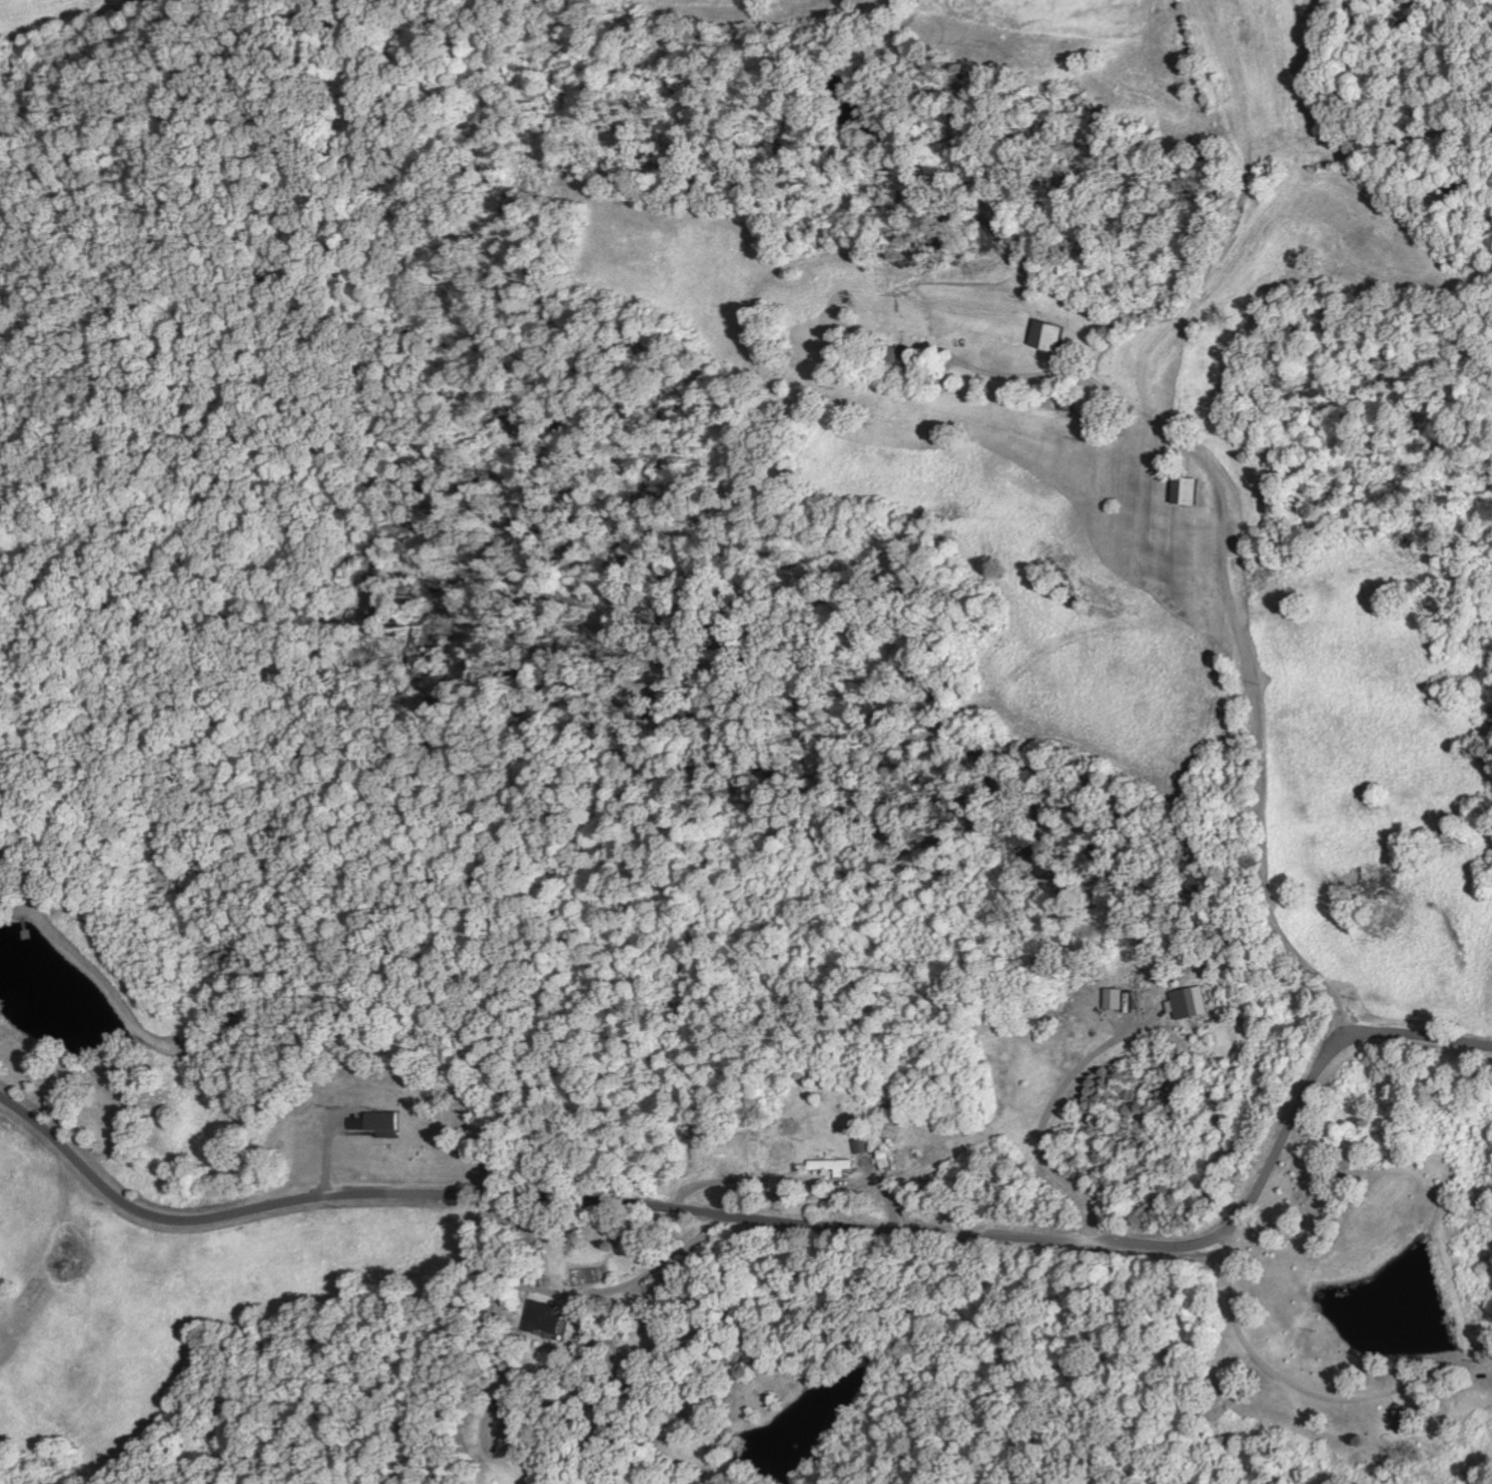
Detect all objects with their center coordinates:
building: (1043, 337)
building: (892, 355)
road: (1201, 499)
building: (1111, 998)
building: (1186, 1001)
building: (376, 1123)
building: (830, 1165)
road: (779, 1218)
building: (540, 1316)
road: (253, 1321)
road: (482, 1350)
road: (273, 1458)

